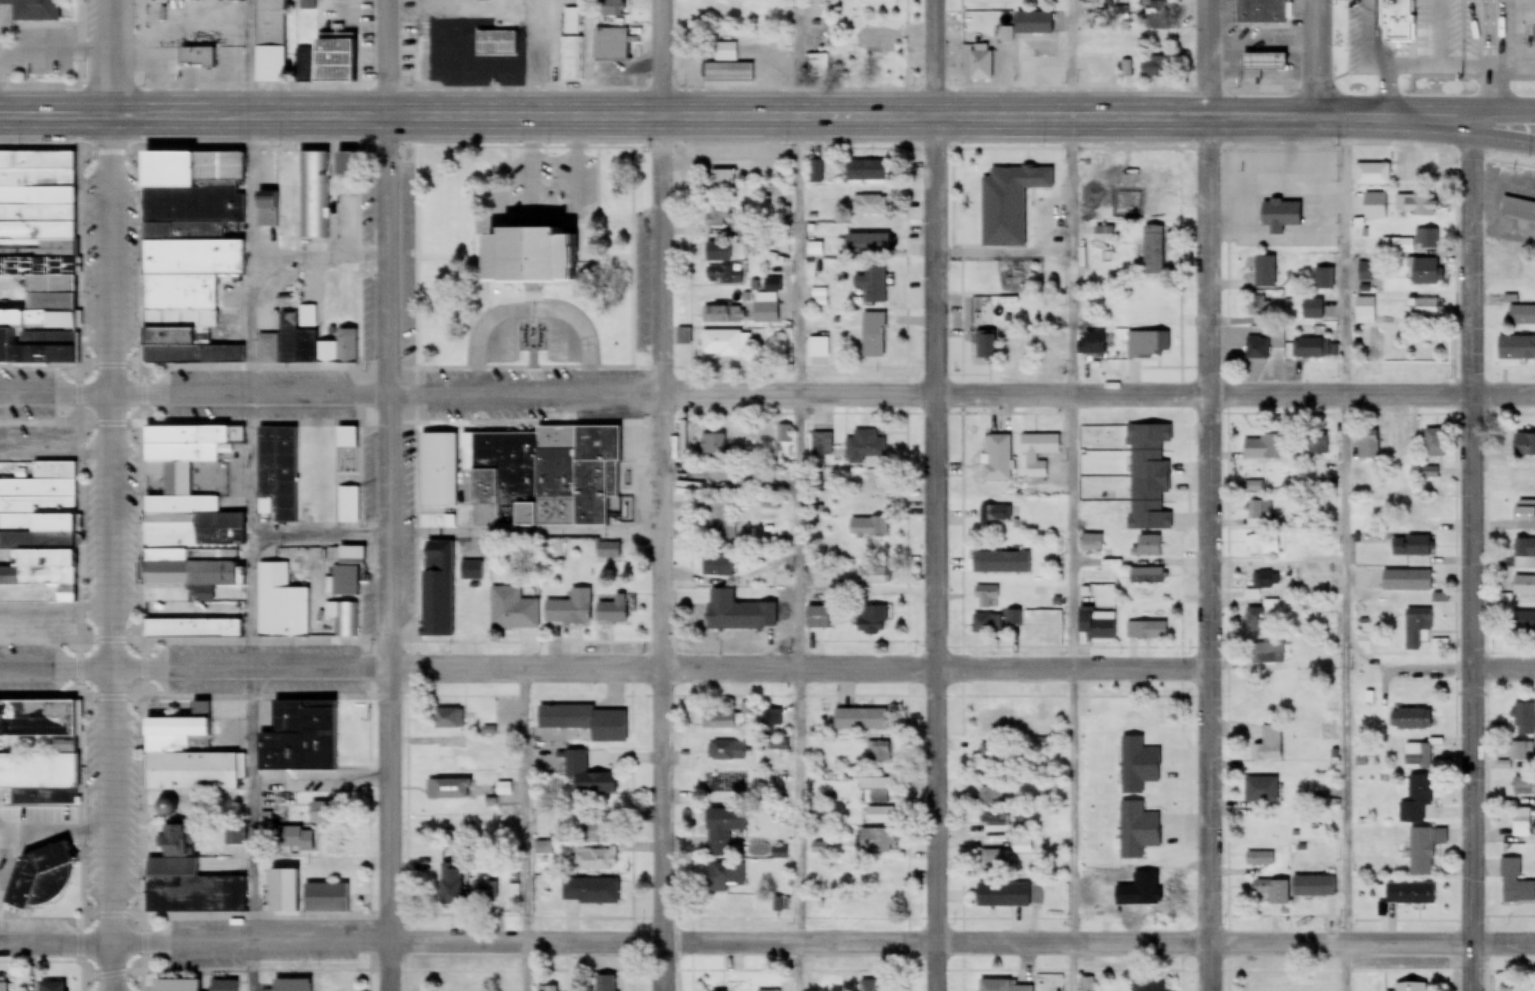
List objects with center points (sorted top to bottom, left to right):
building: (879, 1)
building: (612, 8)
building: (33, 10)
building: (1262, 12)
building: (1155, 16)
building: (1394, 19)
building: (1033, 23)
building: (876, 38)
building: (269, 41)
building: (495, 44)
building: (609, 45)
building: (571, 47)
road: (1072, 59)
road: (1319, 60)
building: (324, 62)
building: (981, 62)
road: (1492, 62)
building: (538, 63)
building: (1263, 63)
building: (415, 65)
building: (817, 65)
building: (847, 65)
building: (1099, 68)
building: (1154, 68)
building: (729, 73)
road: (1427, 117)
road: (56, 118)
traffic signals: (113, 118)
road: (716, 119)
building: (342, 164)
building: (1291, 165)
building: (865, 171)
road: (553, 172)
building: (817, 172)
building: (1037, 175)
building: (1372, 175)
building: (723, 178)
building: (1152, 178)
building: (1319, 181)
building: (314, 196)
building: (1154, 204)
building: (1415, 205)
building: (868, 206)
building: (1268, 208)
building: (266, 210)
building: (1362, 210)
building: (1518, 211)
building: (1098, 212)
building: (988, 214)
building: (716, 218)
building: (1105, 234)
building: (1292, 234)
building: (1427, 239)
building: (866, 244)
building: (1398, 247)
building: (1153, 250)
building: (533, 254)
building: (189, 255)
building: (38, 256)
building: (1266, 272)
building: (1366, 273)
building: (1424, 273)
building: (724, 275)
building: (1324, 280)
building: (772, 284)
building: (1018, 285)
building: (868, 290)
building: (1259, 306)
building: (766, 308)
building: (1422, 308)
road: (535, 310)
building: (1312, 310)
building: (1365, 311)
building: (722, 314)
building: (1521, 316)
building: (874, 336)
building: (723, 343)
building: (309, 344)
building: (1095, 344)
building: (1149, 344)
building: (985, 345)
building: (1375, 345)
building: (818, 347)
building: (1516, 348)
building: (1019, 349)
building: (1258, 349)
building: (1312, 349)
road: (56, 397)
road: (823, 398)
building: (1320, 443)
building: (1402, 443)
building: (822, 444)
building: (1434, 444)
building: (714, 445)
building: (1368, 445)
building: (1524, 445)
building: (1151, 446)
building: (865, 447)
building: (1272, 447)
building: (1038, 453)
building: (435, 456)
building: (998, 459)
building: (612, 471)
building: (1429, 473)
building: (278, 474)
building: (524, 479)
building: (716, 479)
building: (1525, 479)
building: (1254, 487)
road: (115, 495)
road: (388, 495)
road: (661, 495)
road: (927, 495)
road: (1204, 495)
building: (190, 514)
building: (996, 514)
building: (1260, 514)
building: (1420, 515)
building: (1525, 515)
building: (1146, 516)
building: (718, 518)
building: (868, 527)
building: (40, 531)
building: (1091, 543)
building: (1262, 546)
building: (1146, 547)
building: (1411, 548)
building: (609, 551)
road: (1345, 554)
building: (1524, 554)
road: (1474, 556)
building: (1000, 563)
building: (717, 566)
building: (347, 572)
building: (472, 572)
building: (874, 576)
building: (1145, 577)
building: (1266, 581)
building: (1407, 582)
building: (1523, 587)
building: (438, 590)
building: (986, 597)
building: (281, 605)
building: (570, 610)
building: (513, 611)
building: (614, 611)
building: (1263, 616)
building: (818, 618)
building: (347, 619)
building: (716, 619)
building: (872, 621)
building: (1523, 624)
building: (986, 625)
building: (1095, 628)
building: (1416, 628)
building: (192, 629)
building: (1146, 632)
building: (1267, 654)
road: (59, 666)
road: (662, 669)
road: (1505, 670)
building: (1152, 717)
building: (772, 719)
building: (448, 720)
building: (731, 720)
building: (1524, 720)
building: (1410, 721)
building: (994, 722)
building: (585, 723)
building: (300, 739)
building: (779, 745)
building: (1269, 745)
building: (63, 746)
building: (1155, 747)
building: (726, 752)
building: (1521, 752)
building: (878, 753)
building: (990, 755)
building: (185, 757)
building: (449, 757)
building: (1417, 758)
building: (588, 777)
building: (1156, 779)
building: (1523, 786)
building: (447, 790)
building: (503, 791)
building: (877, 791)
building: (1260, 791)
building: (991, 798)
building: (1416, 801)
building: (1151, 809)
building: (879, 816)
building: (993, 819)
building: (449, 823)
building: (1520, 823)
building: (723, 831)
building: (595, 833)
building: (876, 841)
building: (1022, 847)
building: (1424, 851)
building: (993, 860)
building: (1259, 860)
building: (594, 861)
building: (1151, 877)
building: (39, 878)
building: (725, 878)
building: (187, 882)
building: (1515, 884)
building: (450, 886)
building: (281, 891)
building: (485, 892)
building: (590, 893)
building: (1270, 893)
building: (515, 895)
building: (1410, 895)
building: (1003, 896)
building: (325, 899)
building: (1099, 900)
building: (877, 904)
building: (1149, 906)
road: (825, 945)
road: (58, 948)
building: (606, 983)
building: (1087, 984)
building: (177, 985)
building: (291, 985)
building: (873, 985)
building: (224, 986)
building: (1148, 986)
building: (3, 987)
building: (52, 987)
building: (1005, 987)
building: (1257, 987)
building: (1410, 987)
building: (1311, 988)
building: (548, 989)
building: (768, 990)

